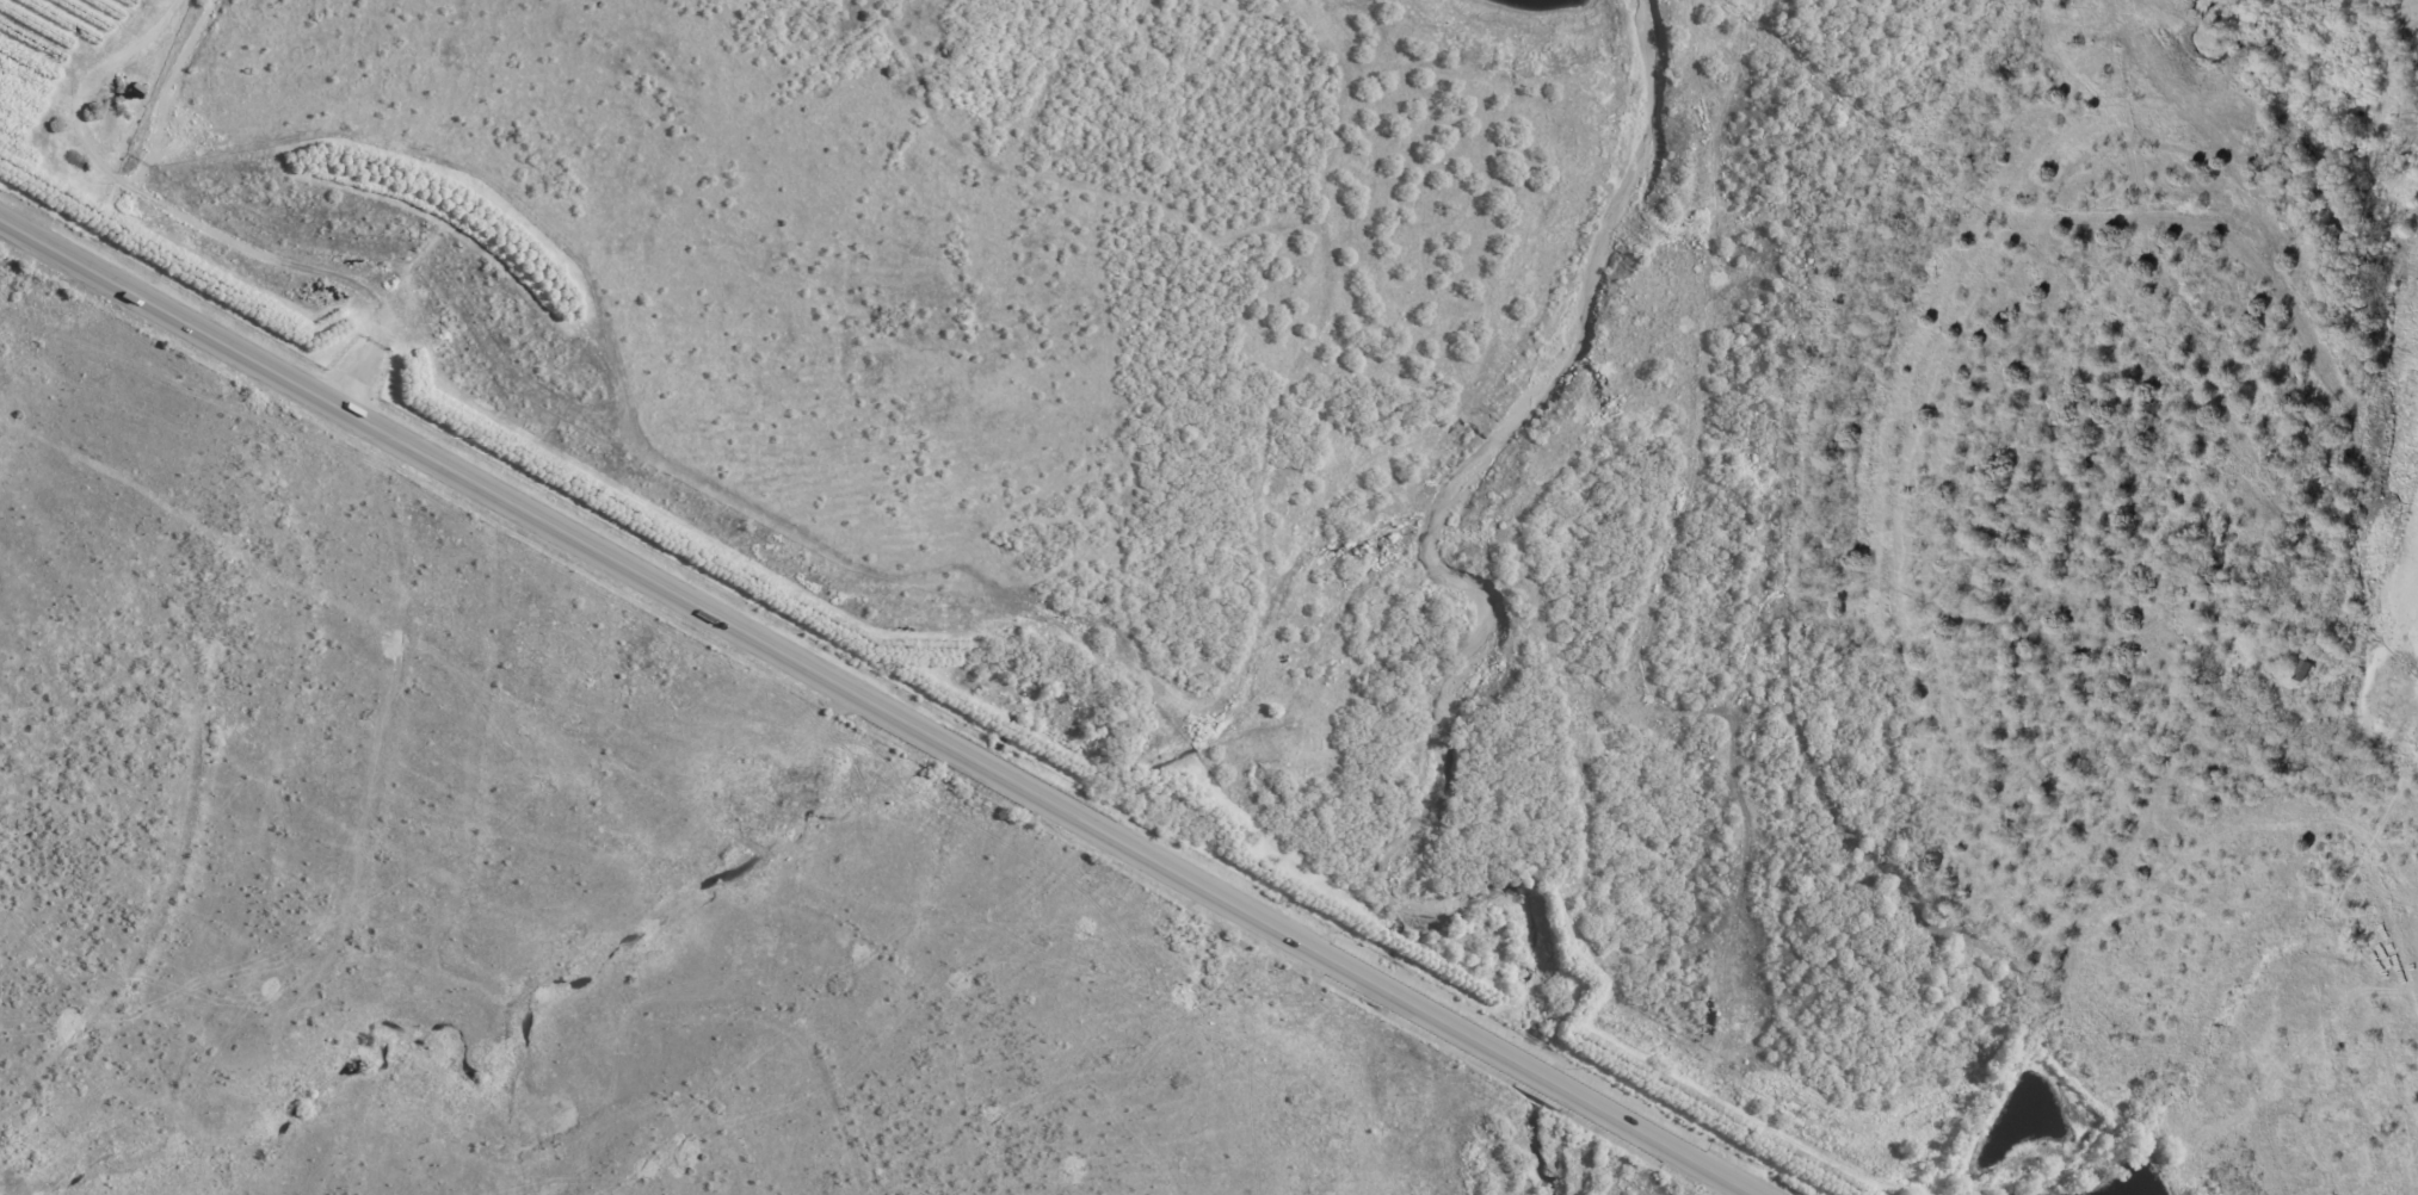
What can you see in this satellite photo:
building: (2306, 670)
road: (877, 706)
road: (427, 921)
road: (57, 945)
road: (337, 1081)

